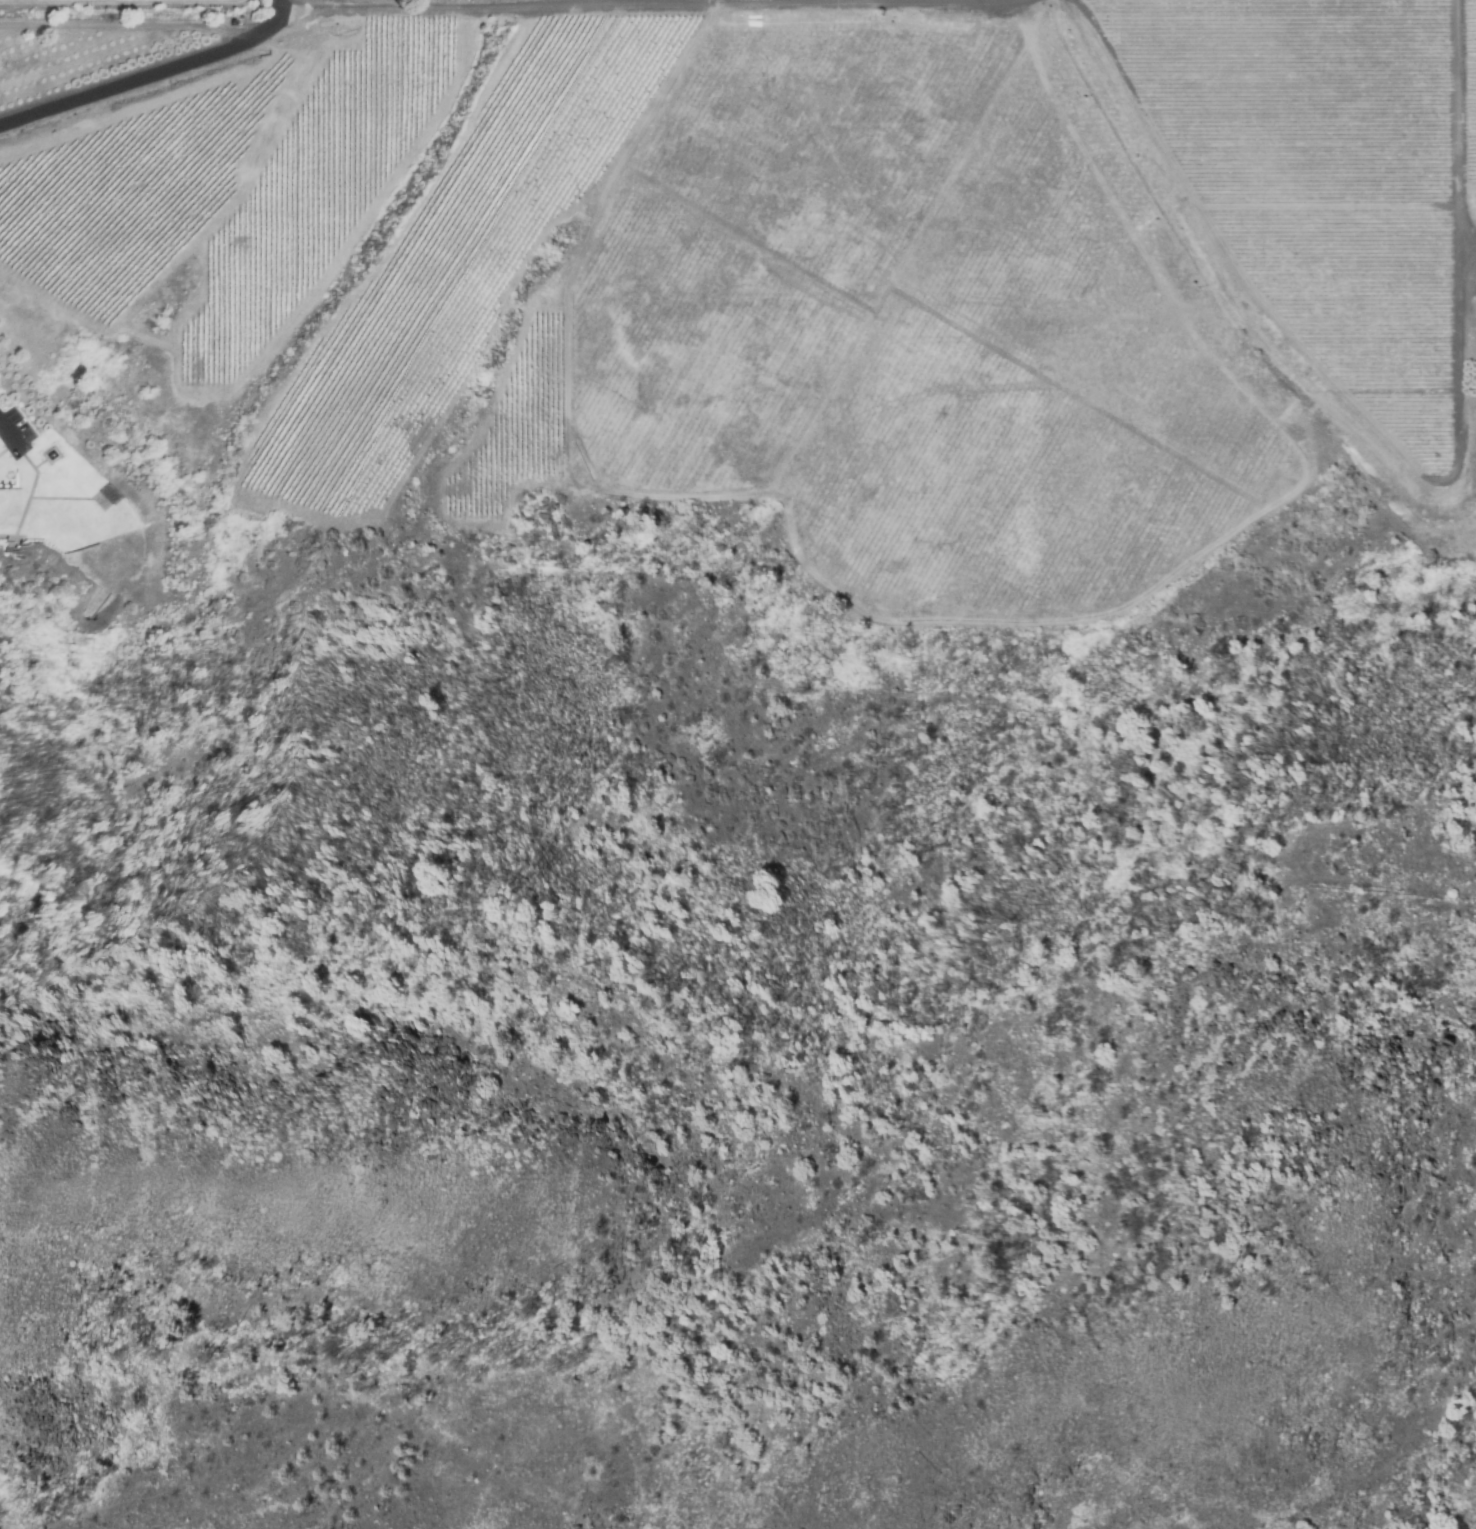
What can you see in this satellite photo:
road: (149, 75)

